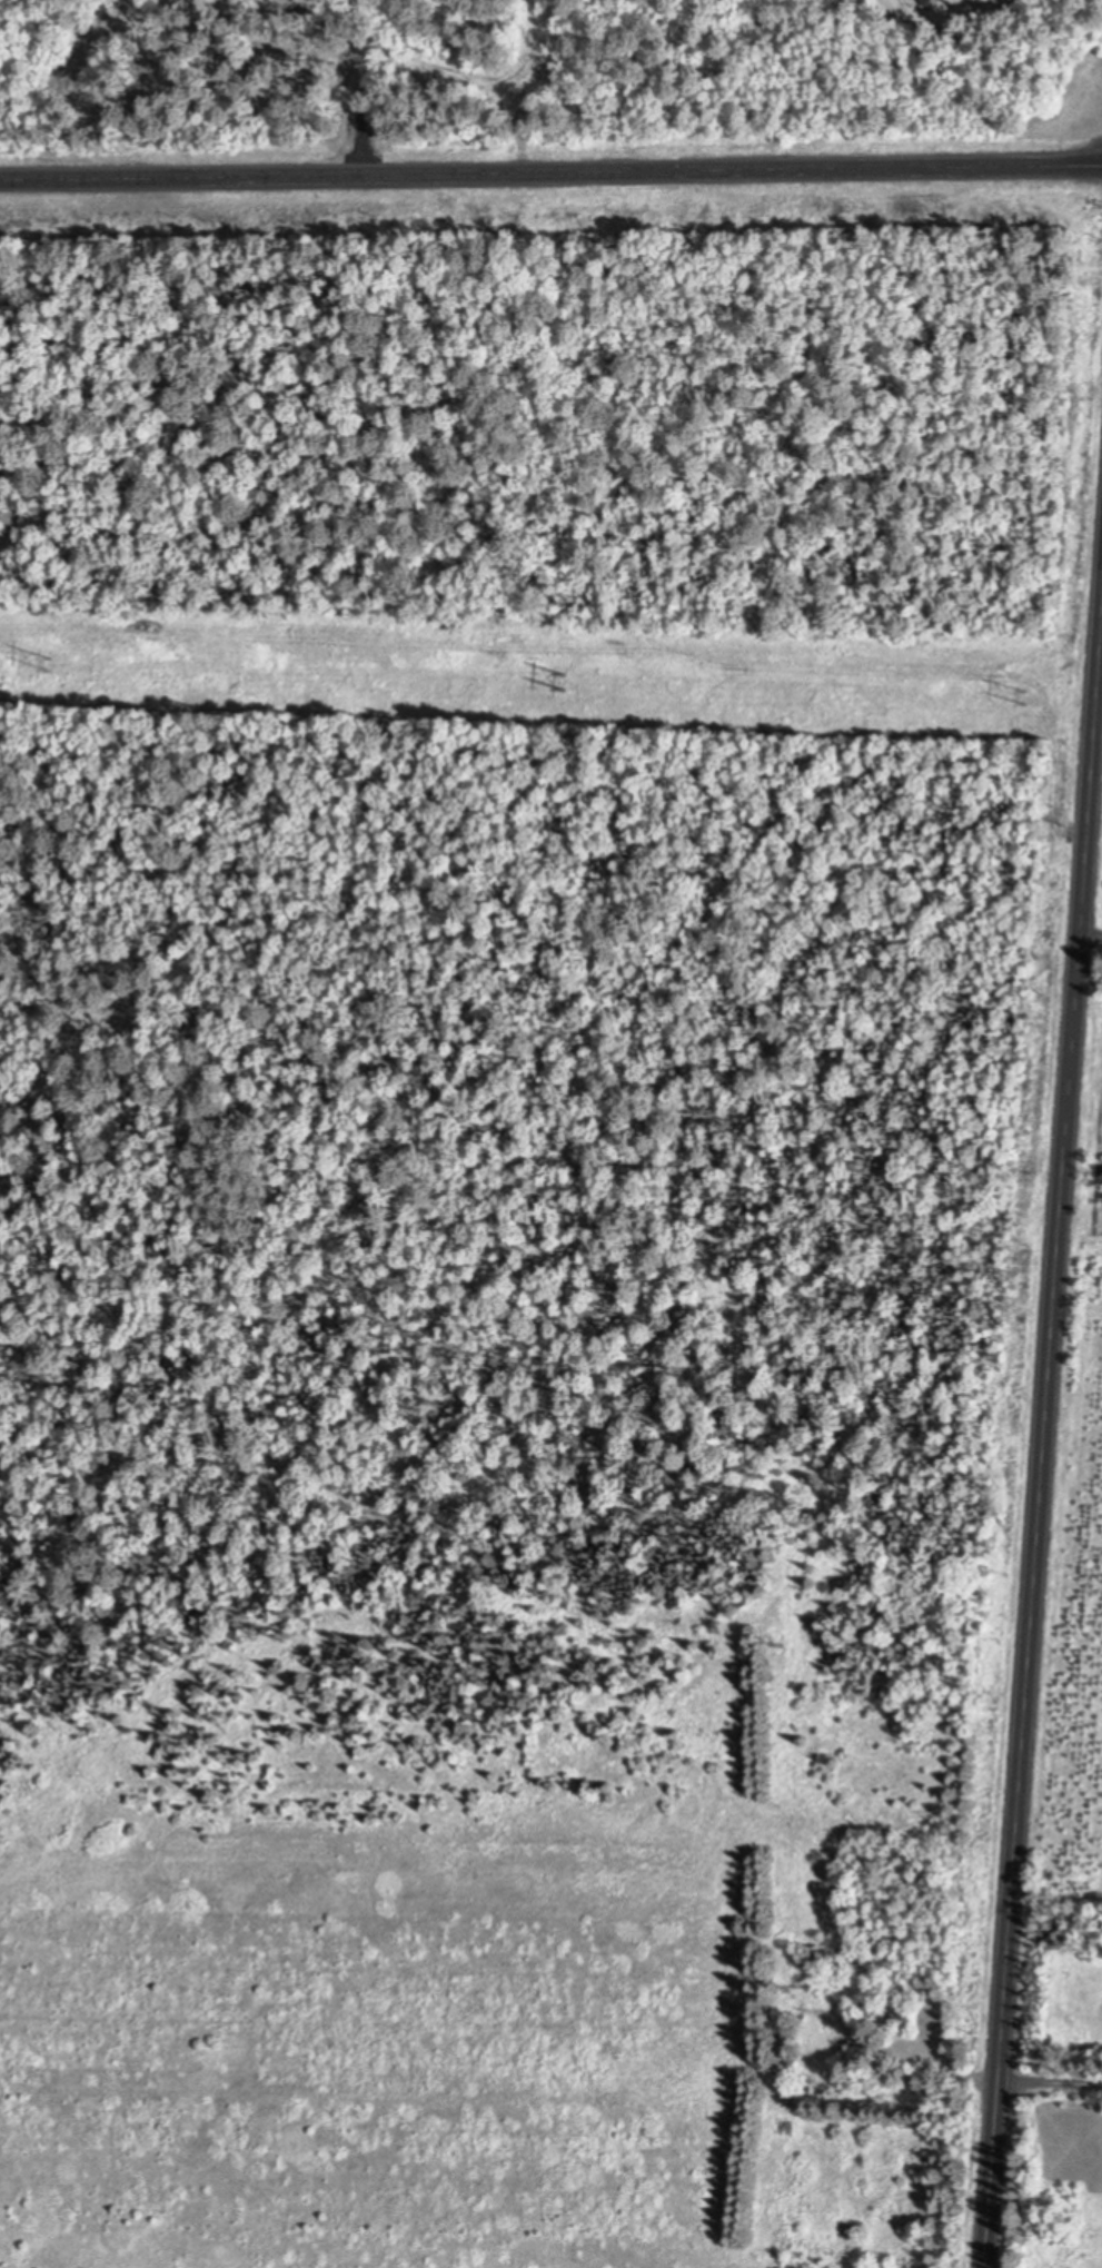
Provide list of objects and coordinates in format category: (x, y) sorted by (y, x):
building: (924, 2)
road: (550, 172)
power tower: (61, 665)
power tower: (553, 687)
power tower: (1035, 702)
road: (1090, 935)
road: (1041, 1439)
building: (802, 1959)
building: (897, 2011)
road: (1049, 2087)

